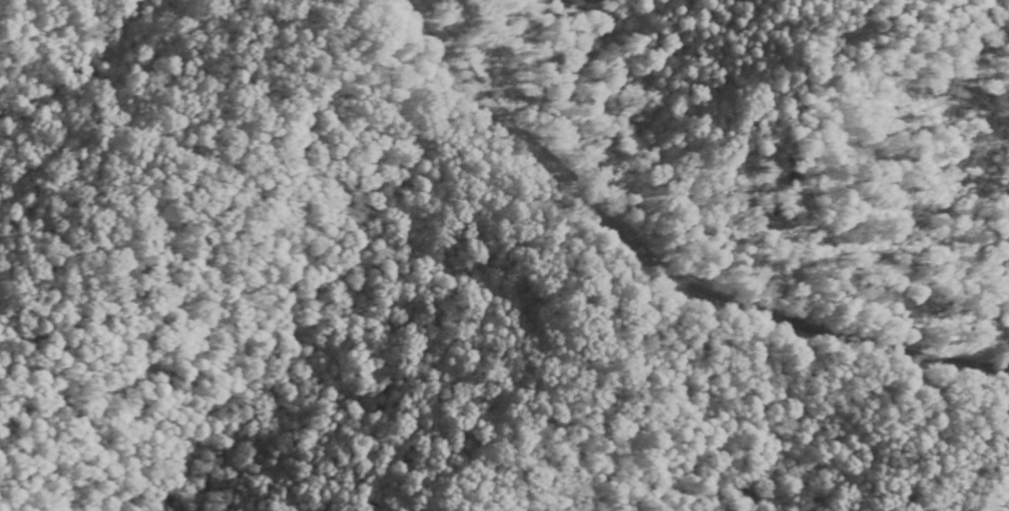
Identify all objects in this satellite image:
road: (491, 106)
road: (785, 316)

